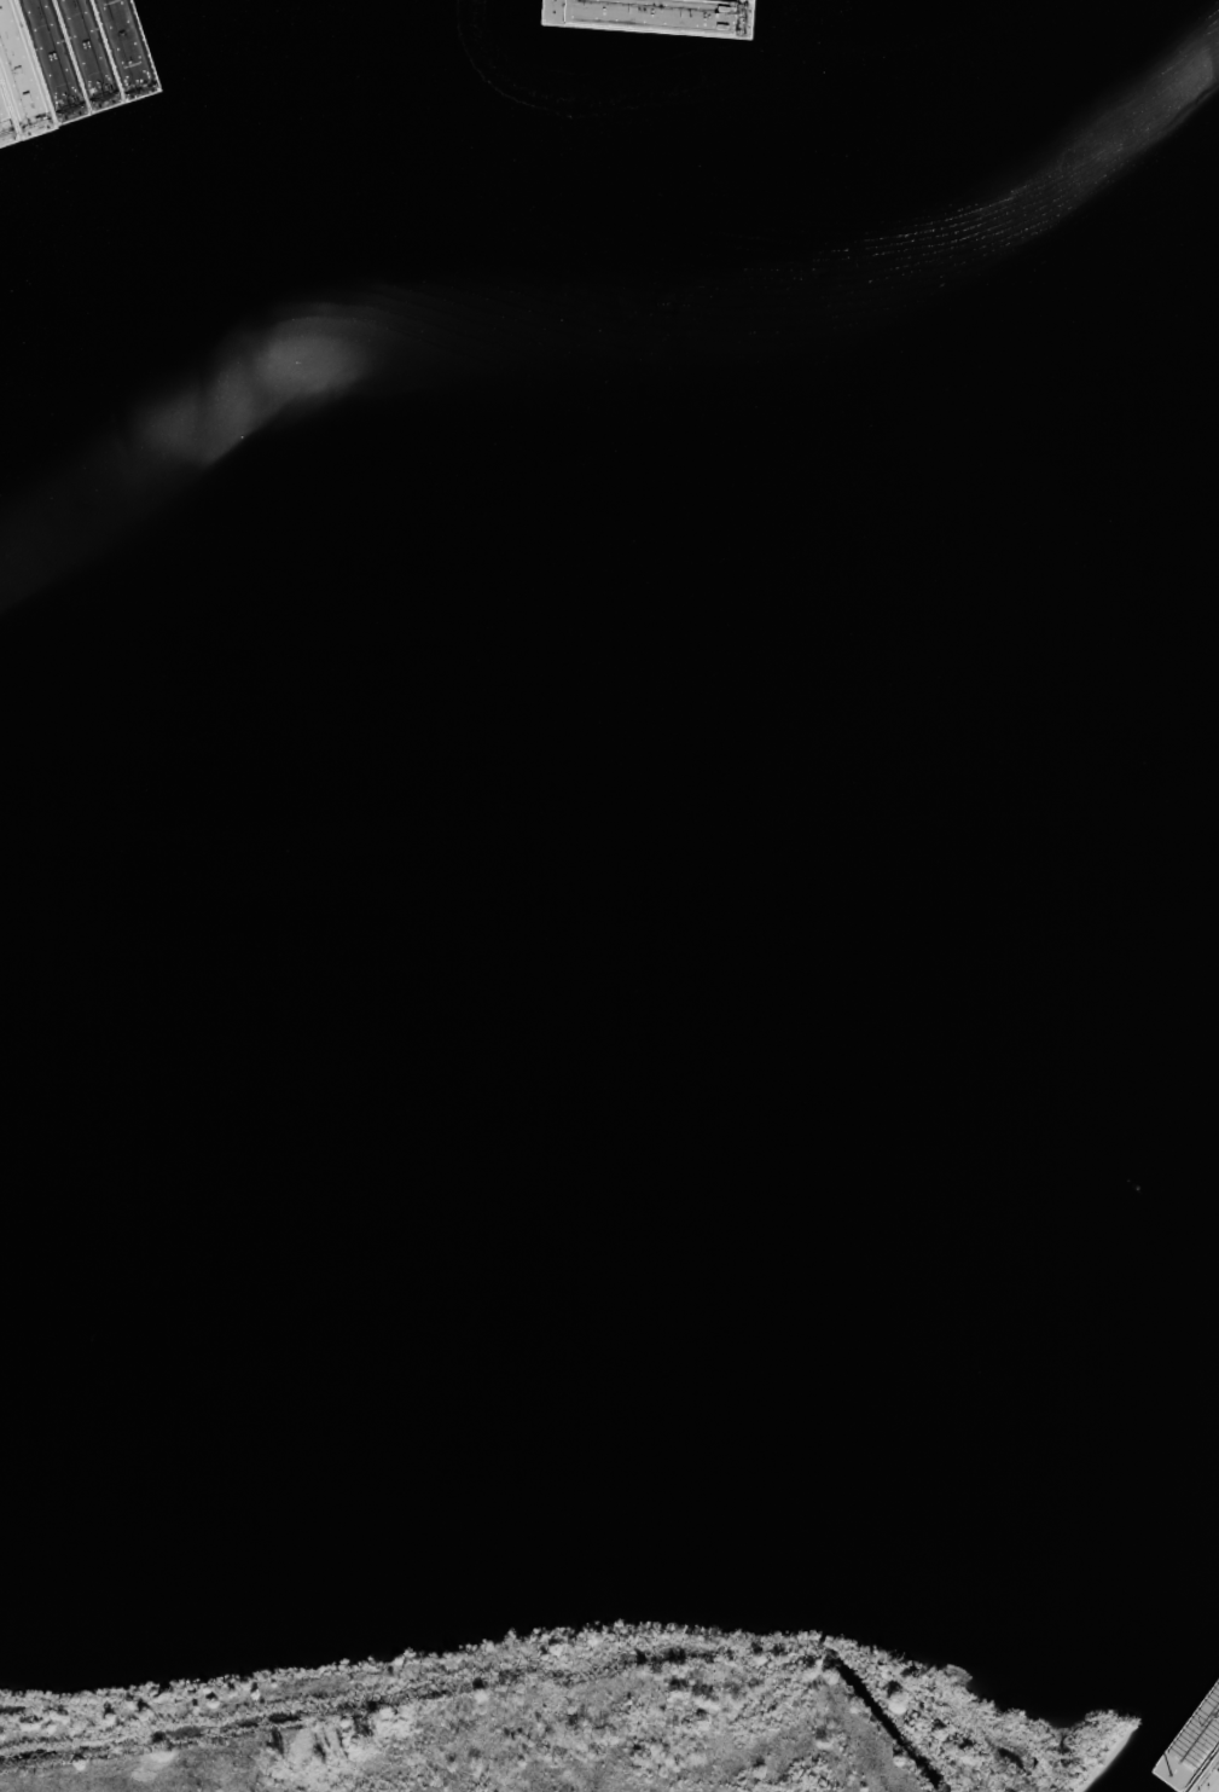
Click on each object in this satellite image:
landfill: (542, 1732)

